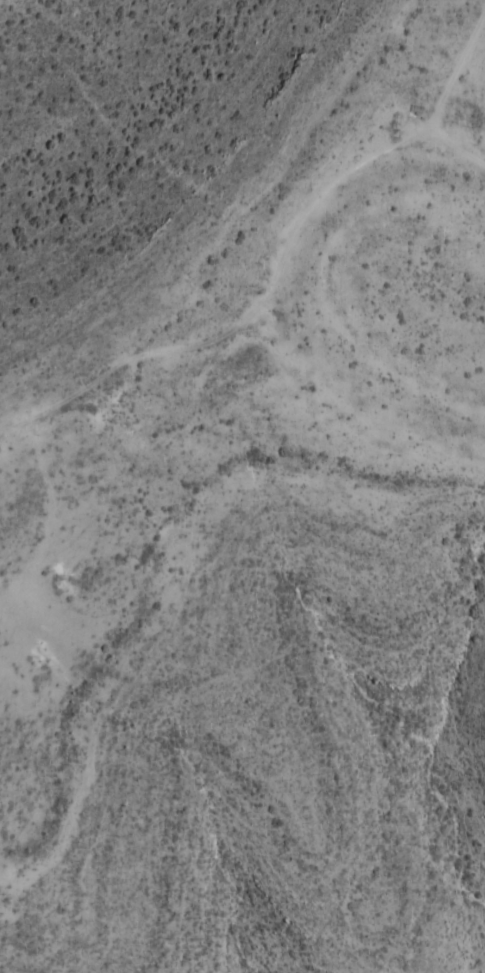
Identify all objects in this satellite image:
road: (454, 149)
road: (228, 332)
road: (18, 426)
park: (8, 566)

